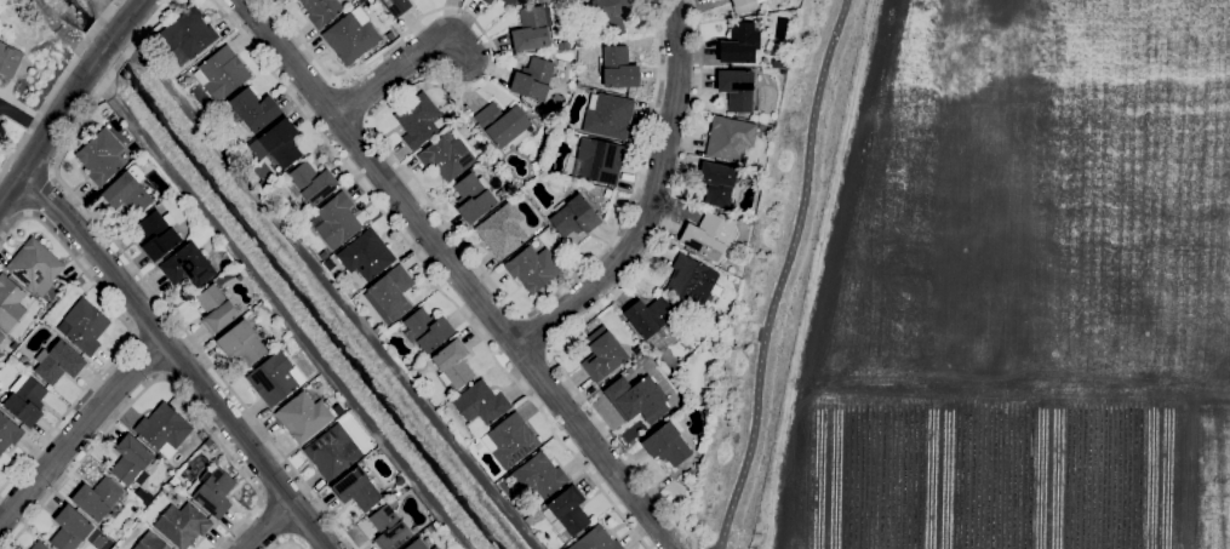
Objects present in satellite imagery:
building: (713, 0)
building: (715, 0)
building: (487, 1)
building: (509, 2)
building: (743, 5)
building: (396, 6)
building: (321, 10)
building: (610, 16)
building: (531, 29)
building: (187, 35)
building: (389, 35)
building: (350, 38)
building: (739, 44)
building: (562, 45)
building: (8, 59)
park: (25, 63)
building: (560, 64)
building: (618, 68)
building: (222, 73)
building: (532, 79)
road: (399, 85)
road: (57, 87)
building: (736, 88)
road: (70, 99)
building: (253, 109)
building: (608, 115)
road: (24, 118)
building: (418, 120)
building: (503, 124)
building: (730, 138)
building: (278, 143)
building: (447, 154)
building: (101, 156)
building: (599, 160)
road: (411, 172)
building: (262, 183)
building: (311, 183)
building: (717, 183)
building: (128, 190)
road: (41, 193)
building: (607, 194)
building: (473, 196)
building: (504, 196)
road: (657, 200)
building: (296, 213)
building: (574, 217)
building: (337, 221)
building: (502, 230)
building: (158, 233)
building: (708, 234)
building: (365, 256)
building: (34, 264)
building: (328, 264)
building: (188, 265)
building: (533, 268)
road: (462, 273)
road: (141, 274)
road: (430, 274)
road: (783, 274)
building: (691, 281)
park: (985, 285)
building: (390, 293)
road: (611, 299)
building: (11, 302)
building: (216, 309)
building: (648, 315)
building: (84, 326)
building: (428, 328)
road: (536, 333)
building: (1, 337)
road: (131, 338)
building: (241, 342)
building: (602, 354)
road: (181, 358)
building: (58, 362)
building: (453, 364)
building: (28, 366)
building: (275, 378)
road: (158, 379)
building: (25, 400)
building: (640, 402)
building: (481, 404)
building: (303, 417)
building: (164, 429)
road: (82, 431)
building: (8, 433)
building: (509, 440)
building: (667, 442)
building: (332, 451)
building: (130, 459)
building: (538, 477)
building: (356, 490)
building: (212, 492)
building: (97, 498)
building: (568, 510)
building: (182, 525)
road: (269, 525)
building: (70, 528)
building: (389, 528)
building: (595, 539)
building: (150, 542)
road: (288, 543)
building: (417, 544)
building: (38, 545)
building: (434, 548)

